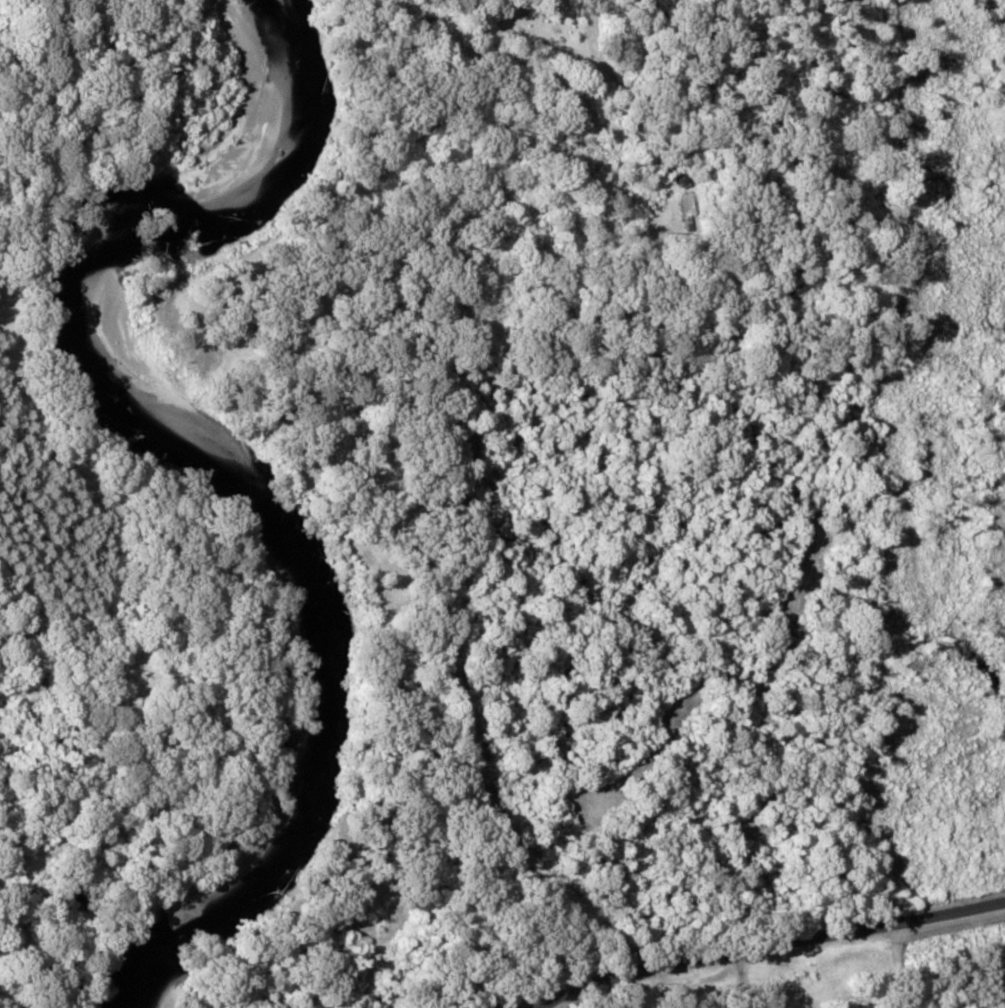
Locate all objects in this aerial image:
road: (450, 73)
road: (417, 758)
road: (768, 949)

